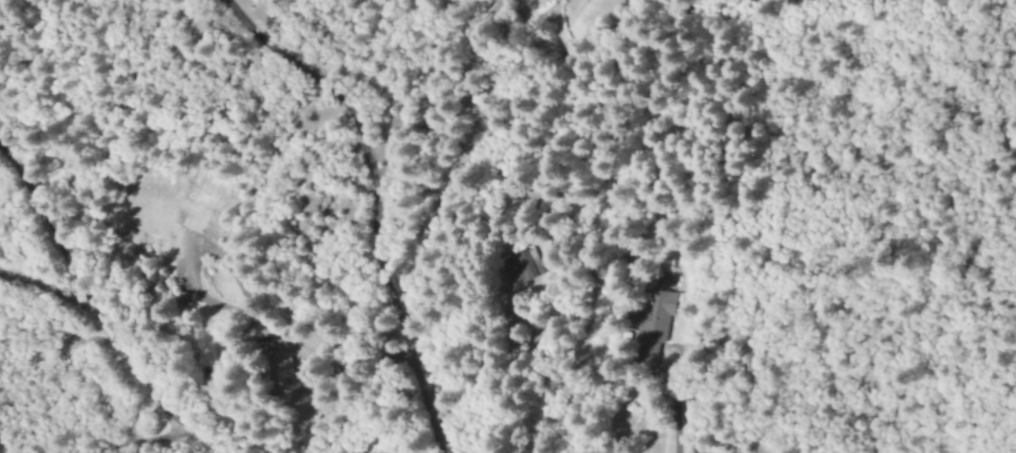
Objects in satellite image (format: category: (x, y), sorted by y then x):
road: (376, 201)
building: (193, 227)
building: (520, 268)
road: (99, 311)
building: (654, 331)

